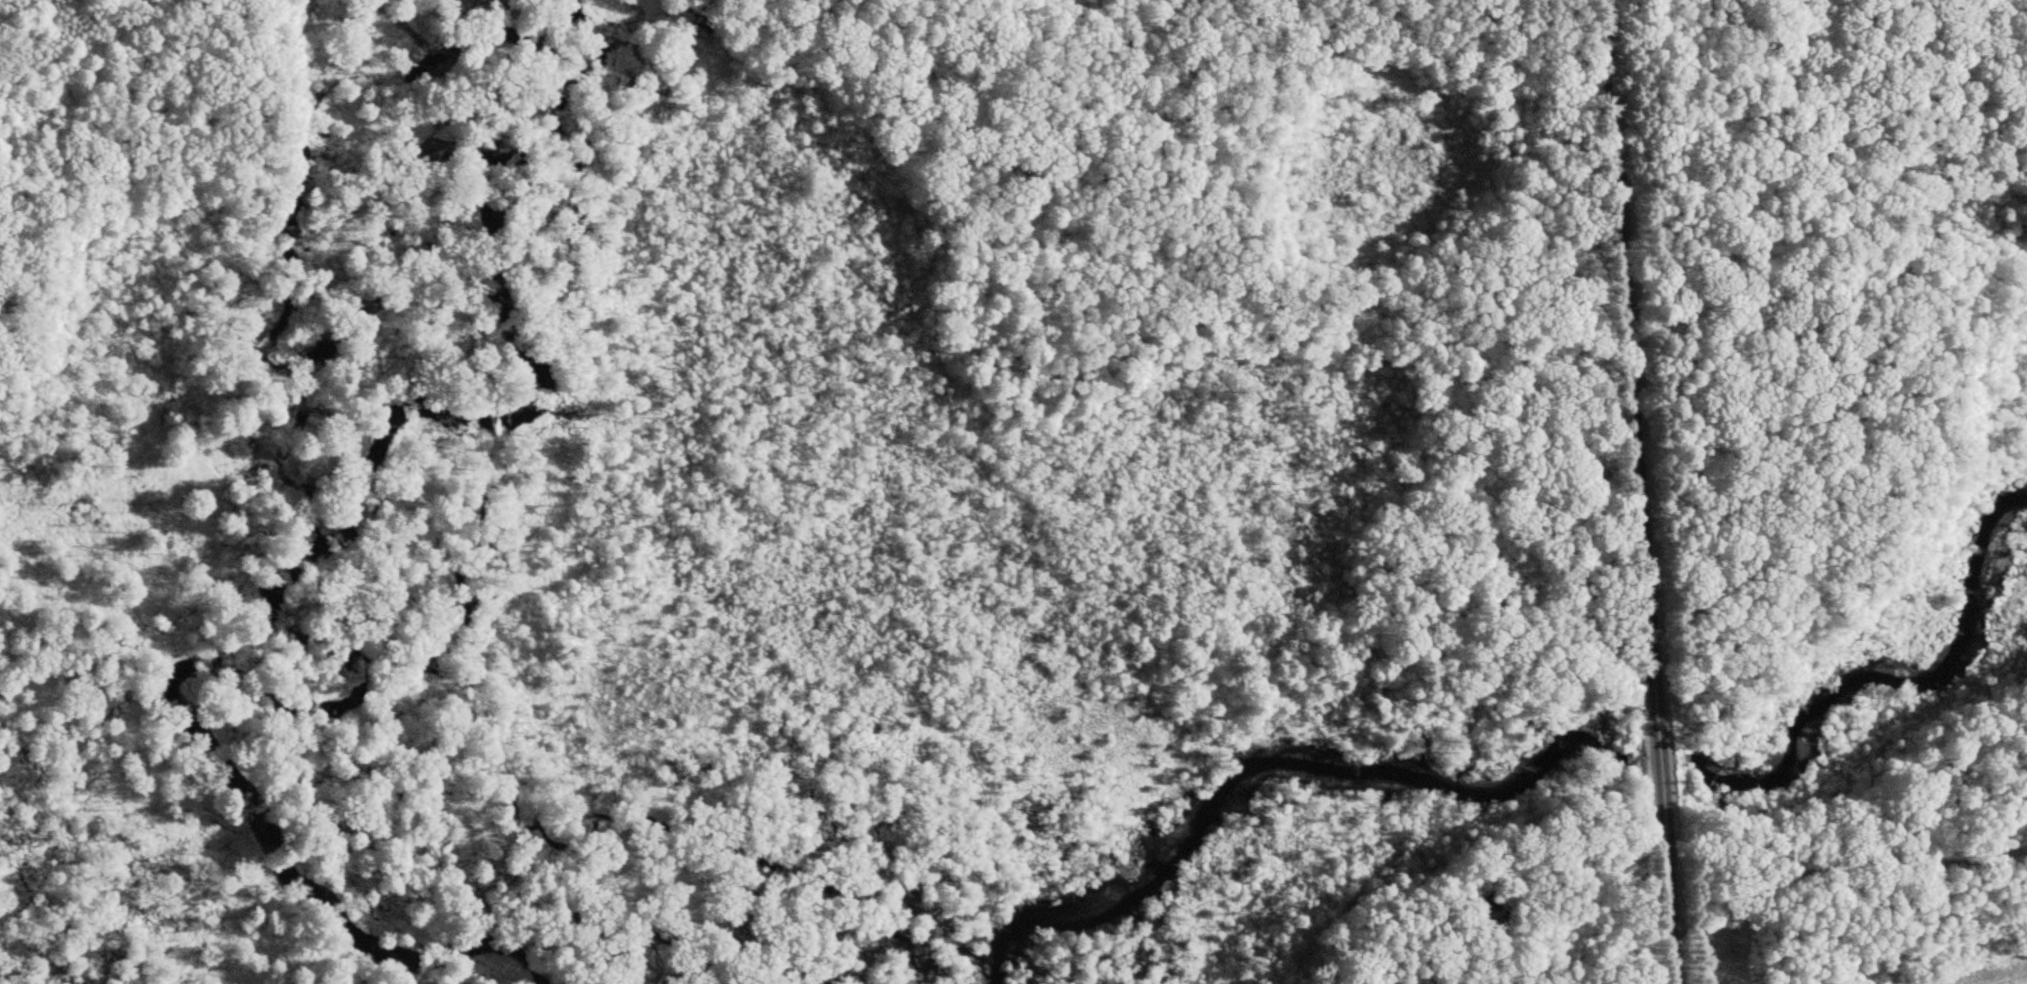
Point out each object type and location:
road: (1501, 357)
road: (1637, 492)
river: (291, 694)
road: (1846, 844)

